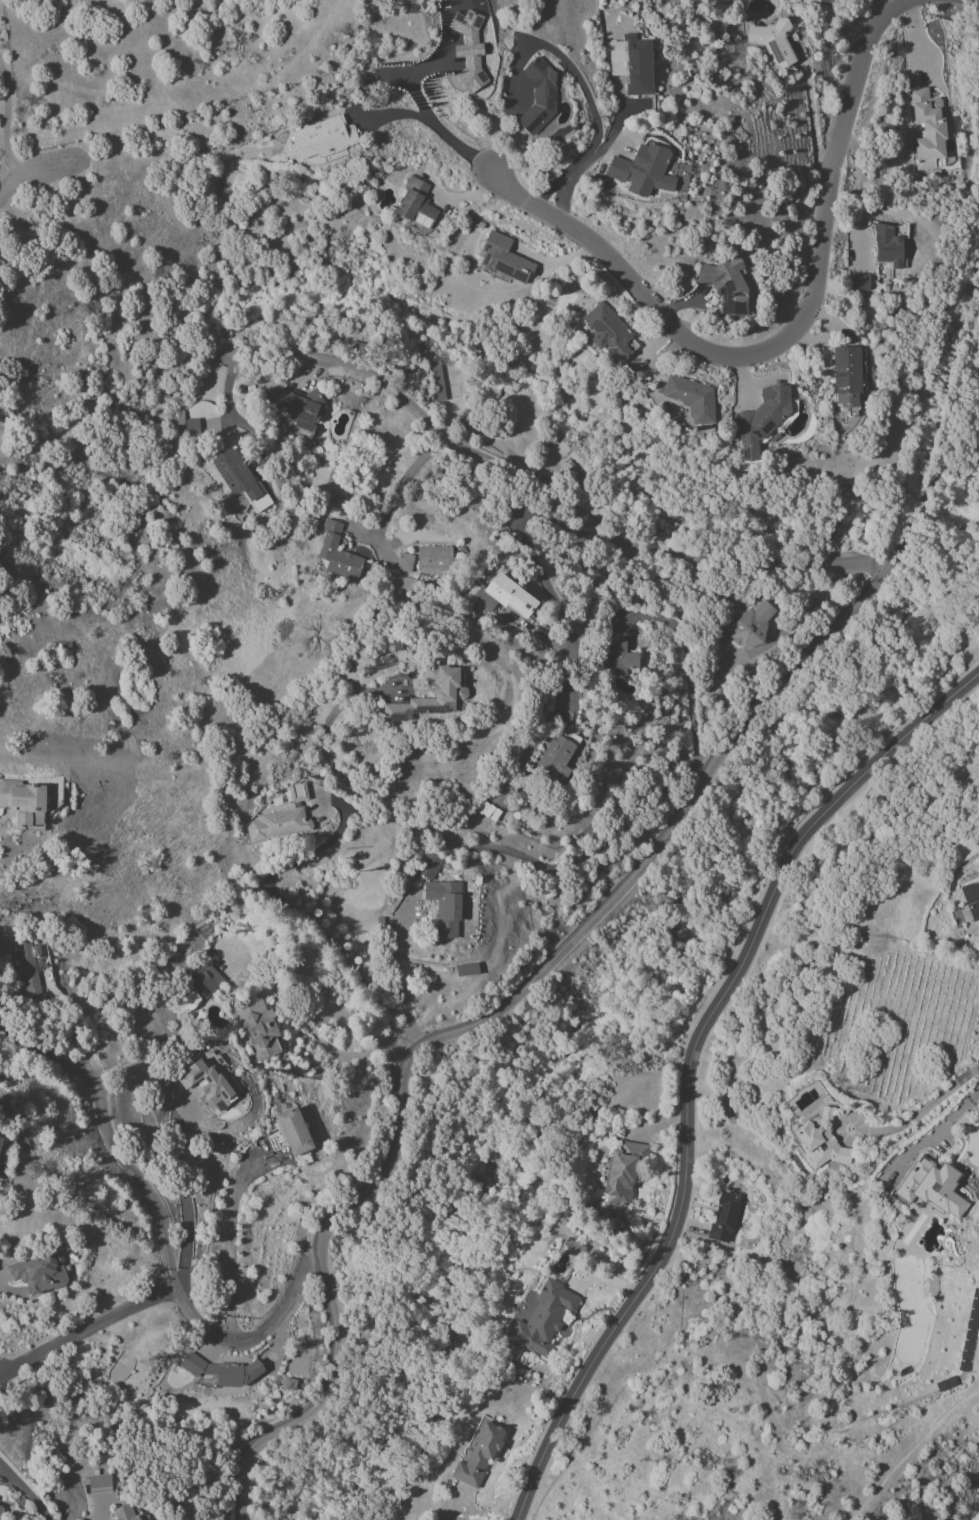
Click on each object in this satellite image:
building: (771, 41)
road: (913, 42)
building: (472, 51)
building: (631, 64)
road: (393, 77)
road: (409, 85)
road: (583, 91)
building: (538, 96)
road: (394, 114)
road: (812, 124)
building: (577, 128)
building: (927, 131)
building: (325, 140)
road: (587, 164)
building: (642, 170)
road: (469, 195)
road: (561, 203)
building: (416, 207)
building: (886, 246)
building: (499, 265)
building: (859, 282)
building: (725, 285)
building: (610, 336)
road: (783, 337)
road: (304, 372)
building: (845, 375)
building: (437, 381)
road: (229, 383)
building: (692, 399)
building: (300, 410)
building: (173, 418)
building: (762, 418)
building: (239, 479)
road: (408, 479)
road: (562, 500)
building: (337, 553)
building: (433, 558)
building: (404, 562)
road: (539, 572)
building: (501, 596)
building: (750, 625)
road: (946, 653)
building: (618, 658)
road: (687, 671)
building: (448, 693)
building: (554, 760)
building: (23, 802)
building: (282, 818)
road: (463, 845)
building: (429, 866)
building: (445, 906)
road: (292, 909)
road: (576, 940)
park: (185, 950)
building: (27, 969)
building: (466, 969)
building: (203, 980)
road: (399, 980)
road: (306, 1027)
building: (258, 1029)
road: (75, 1036)
road: (688, 1064)
building: (207, 1084)
road: (923, 1109)
building: (293, 1131)
road: (938, 1132)
road: (848, 1138)
building: (821, 1141)
building: (1, 1143)
building: (623, 1172)
building: (931, 1187)
road: (183, 1198)
building: (723, 1216)
road: (162, 1230)
road: (230, 1240)
building: (38, 1272)
road: (0, 1276)
building: (543, 1319)
road: (85, 1327)
building: (222, 1371)
road: (2, 1372)
road: (909, 1449)
building: (478, 1455)
building: (98, 1484)
road: (26, 1492)
building: (0, 1511)
building: (123, 1513)

